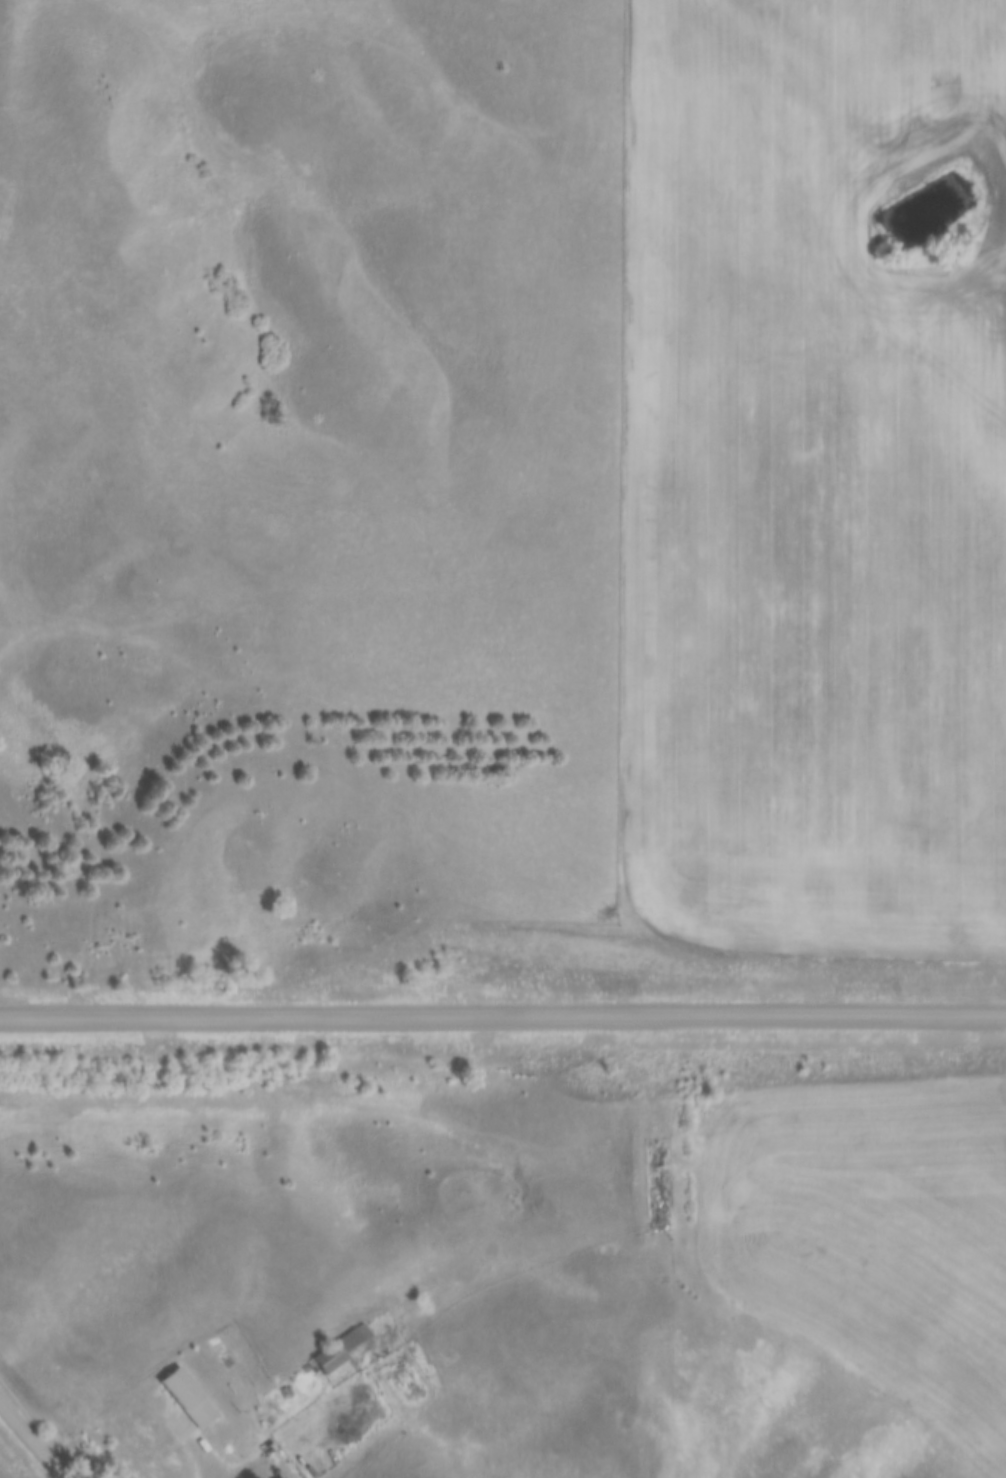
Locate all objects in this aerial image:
road: (503, 1011)
building: (351, 1350)
building: (199, 1406)
road: (33, 1439)
road: (188, 1441)

